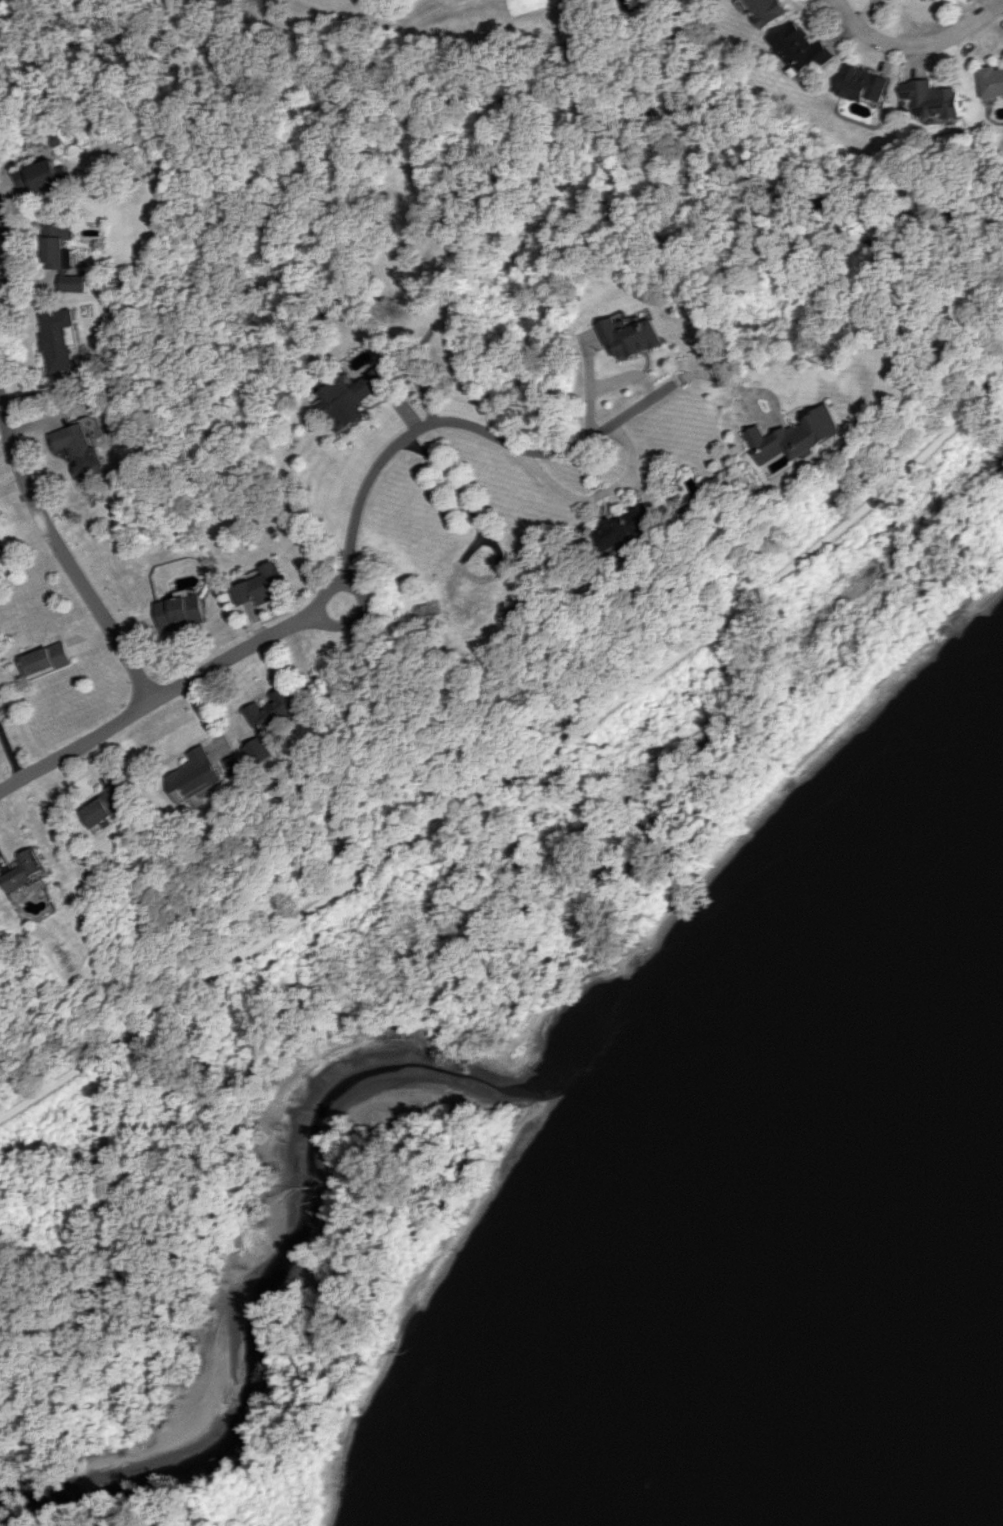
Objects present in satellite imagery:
building: (767, 10)
road: (915, 44)
building: (802, 48)
building: (990, 80)
building: (865, 85)
building: (932, 98)
building: (36, 176)
building: (53, 246)
building: (68, 282)
building: (628, 336)
building: (54, 338)
road: (603, 382)
building: (350, 395)
road: (745, 395)
road: (481, 430)
building: (797, 436)
building: (76, 448)
road: (598, 494)
road: (470, 509)
building: (625, 530)
road: (64, 556)
building: (260, 585)
building: (180, 610)
road: (359, 619)
building: (47, 658)
road: (186, 682)
building: (274, 708)
road: (10, 749)
building: (260, 750)
building: (236, 765)
building: (195, 775)
road: (520, 778)
building: (105, 806)
building: (25, 870)
river: (855, 1274)

